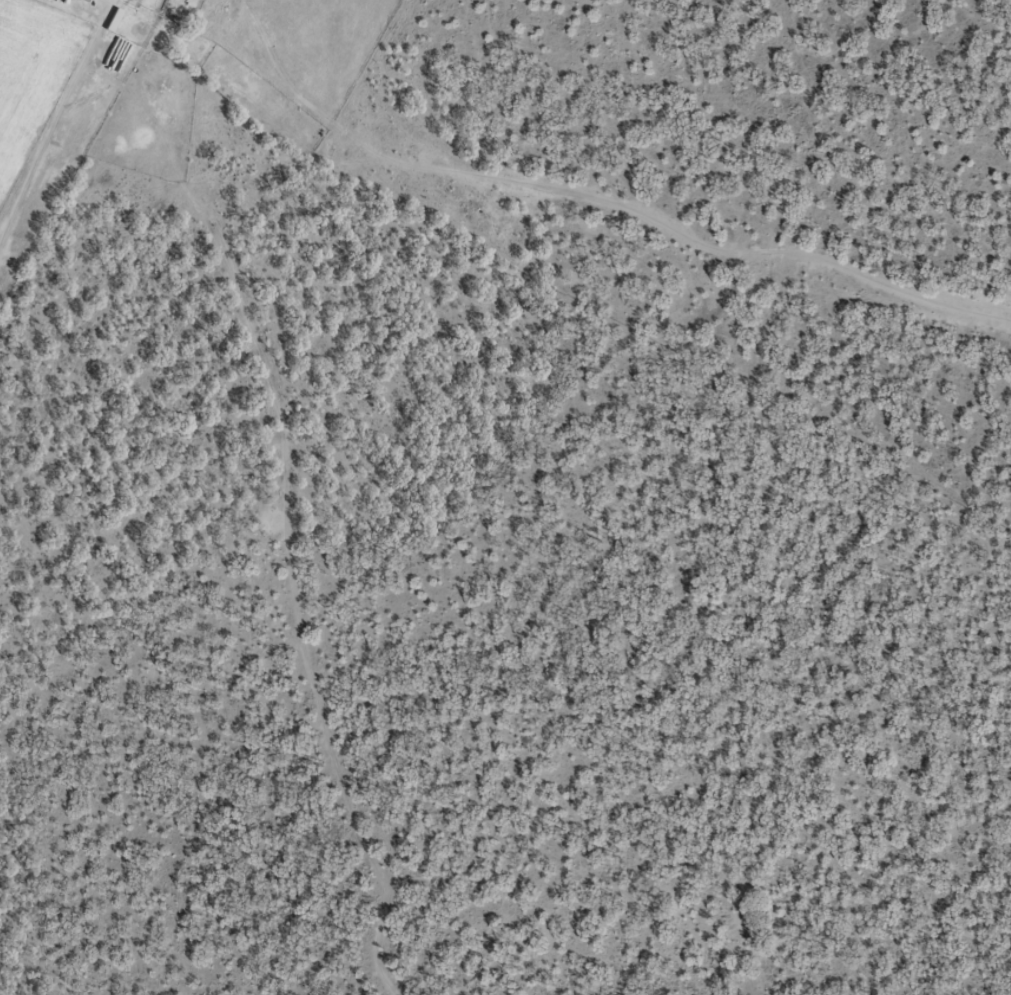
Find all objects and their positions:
road: (673, 219)

